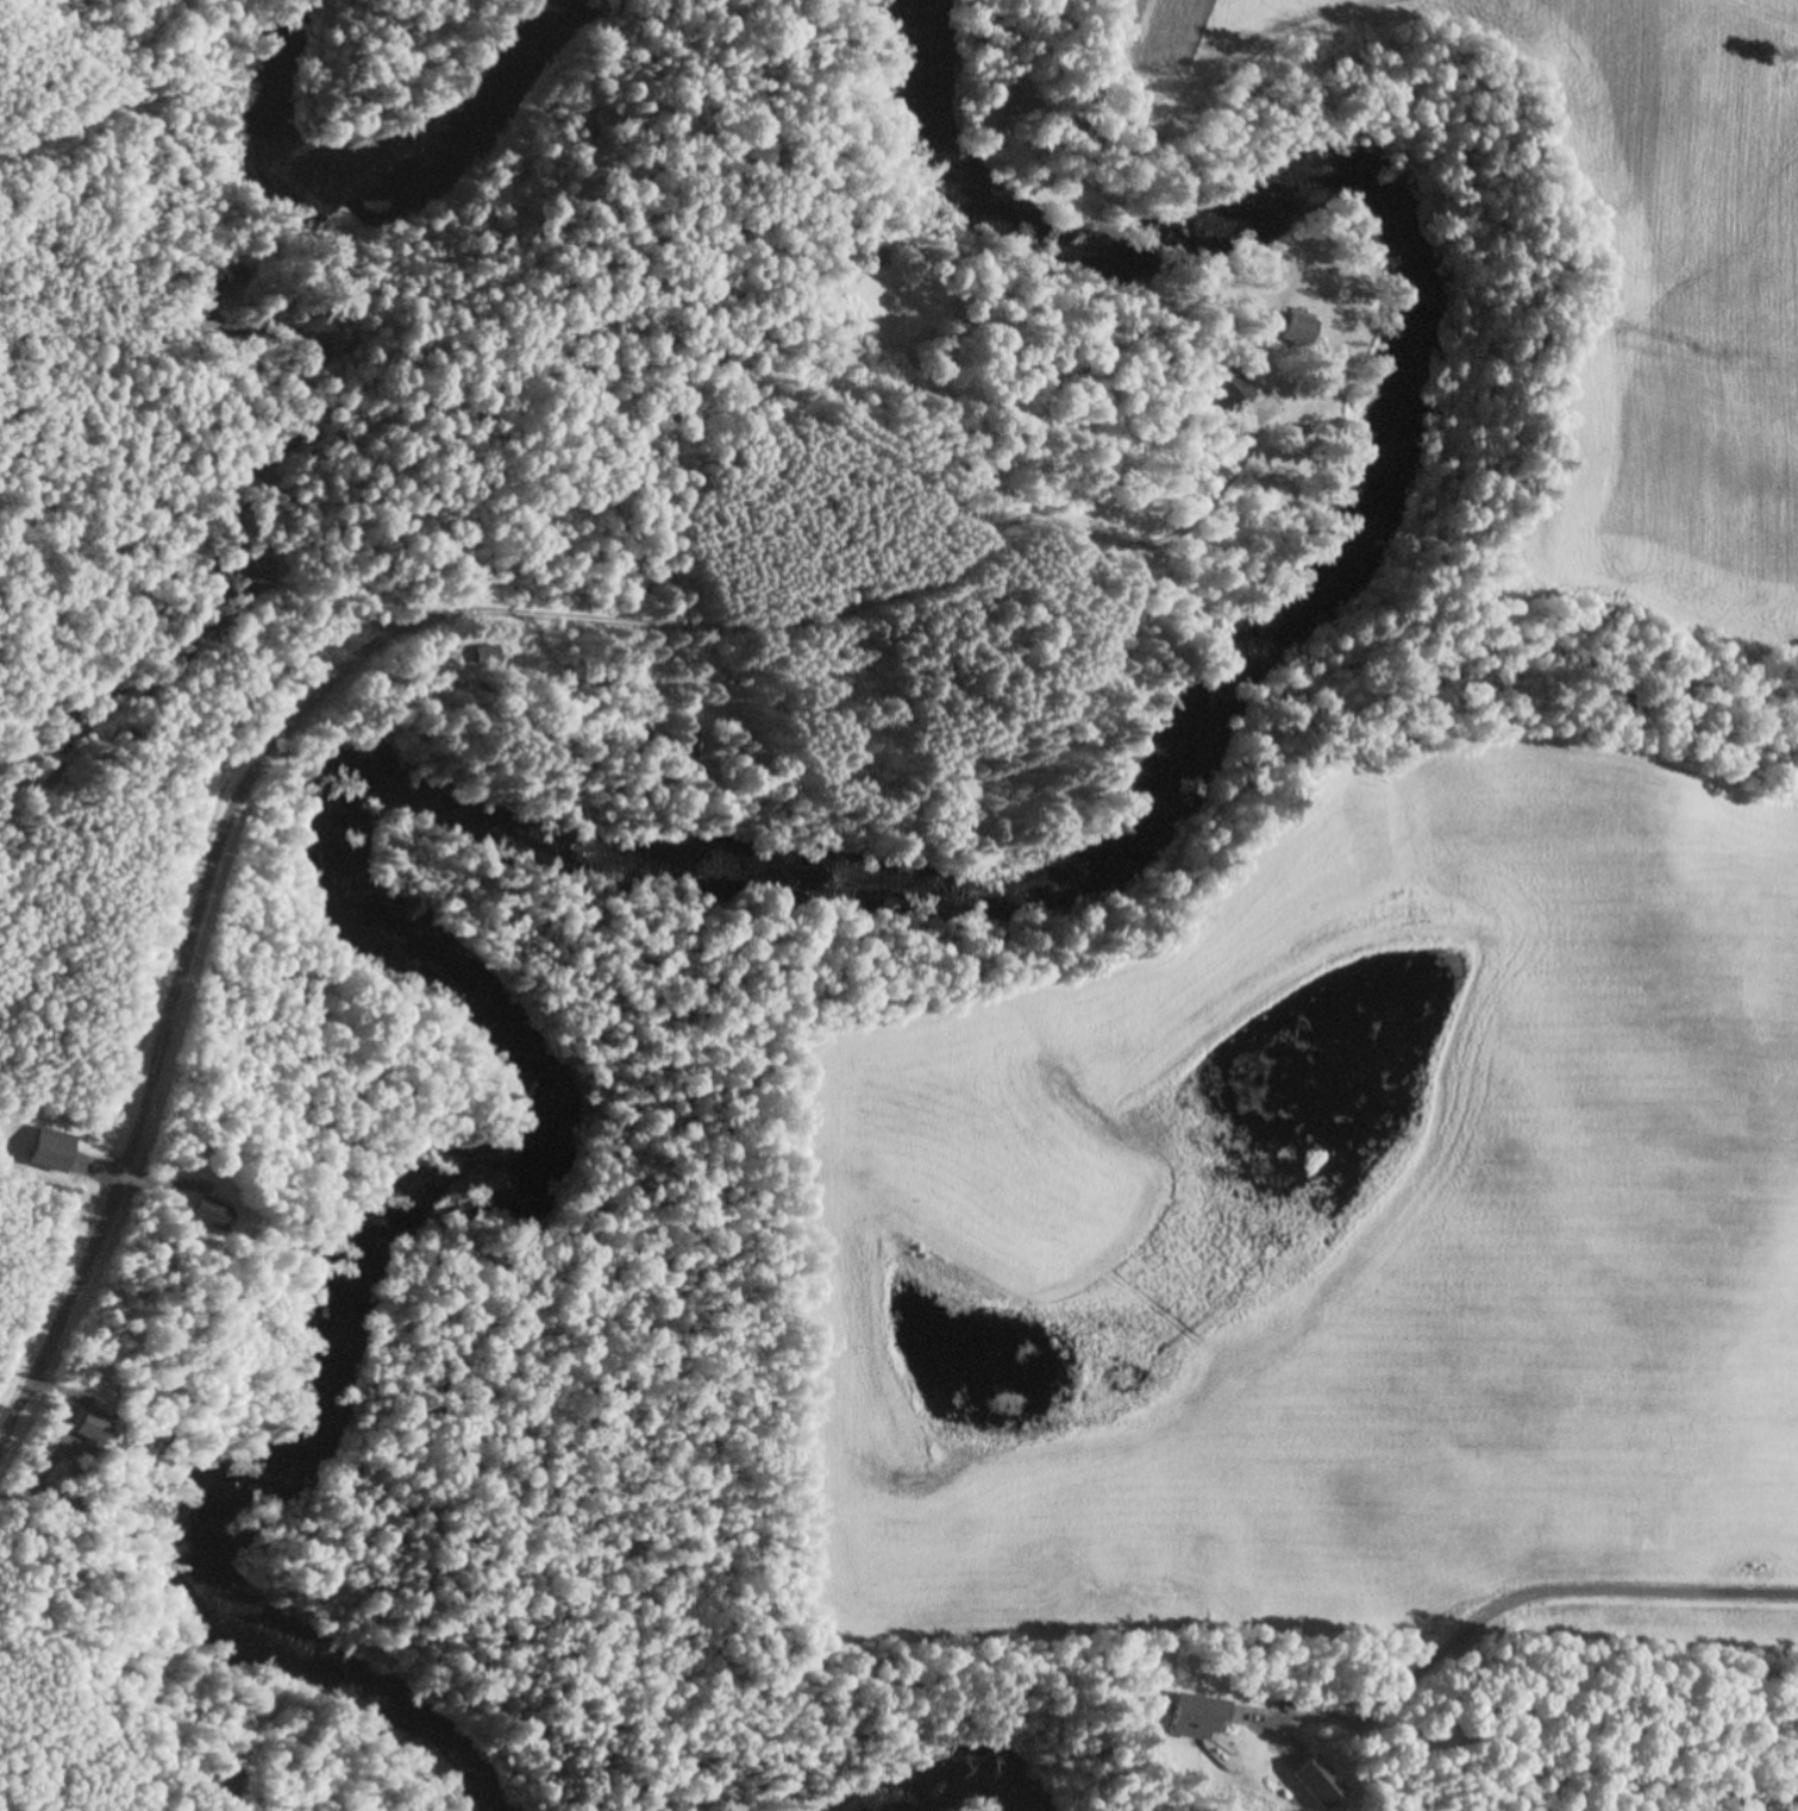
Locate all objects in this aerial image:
river: (386, 165)
building: (915, 255)
building: (882, 257)
building: (1298, 330)
building: (1233, 393)
road: (405, 619)
river: (763, 867)
building: (50, 1145)
building: (201, 1209)
building: (86, 1423)
building: (76, 1429)
road: (1511, 1598)
building: (1194, 1711)
building: (1321, 1778)
river: (923, 1792)

